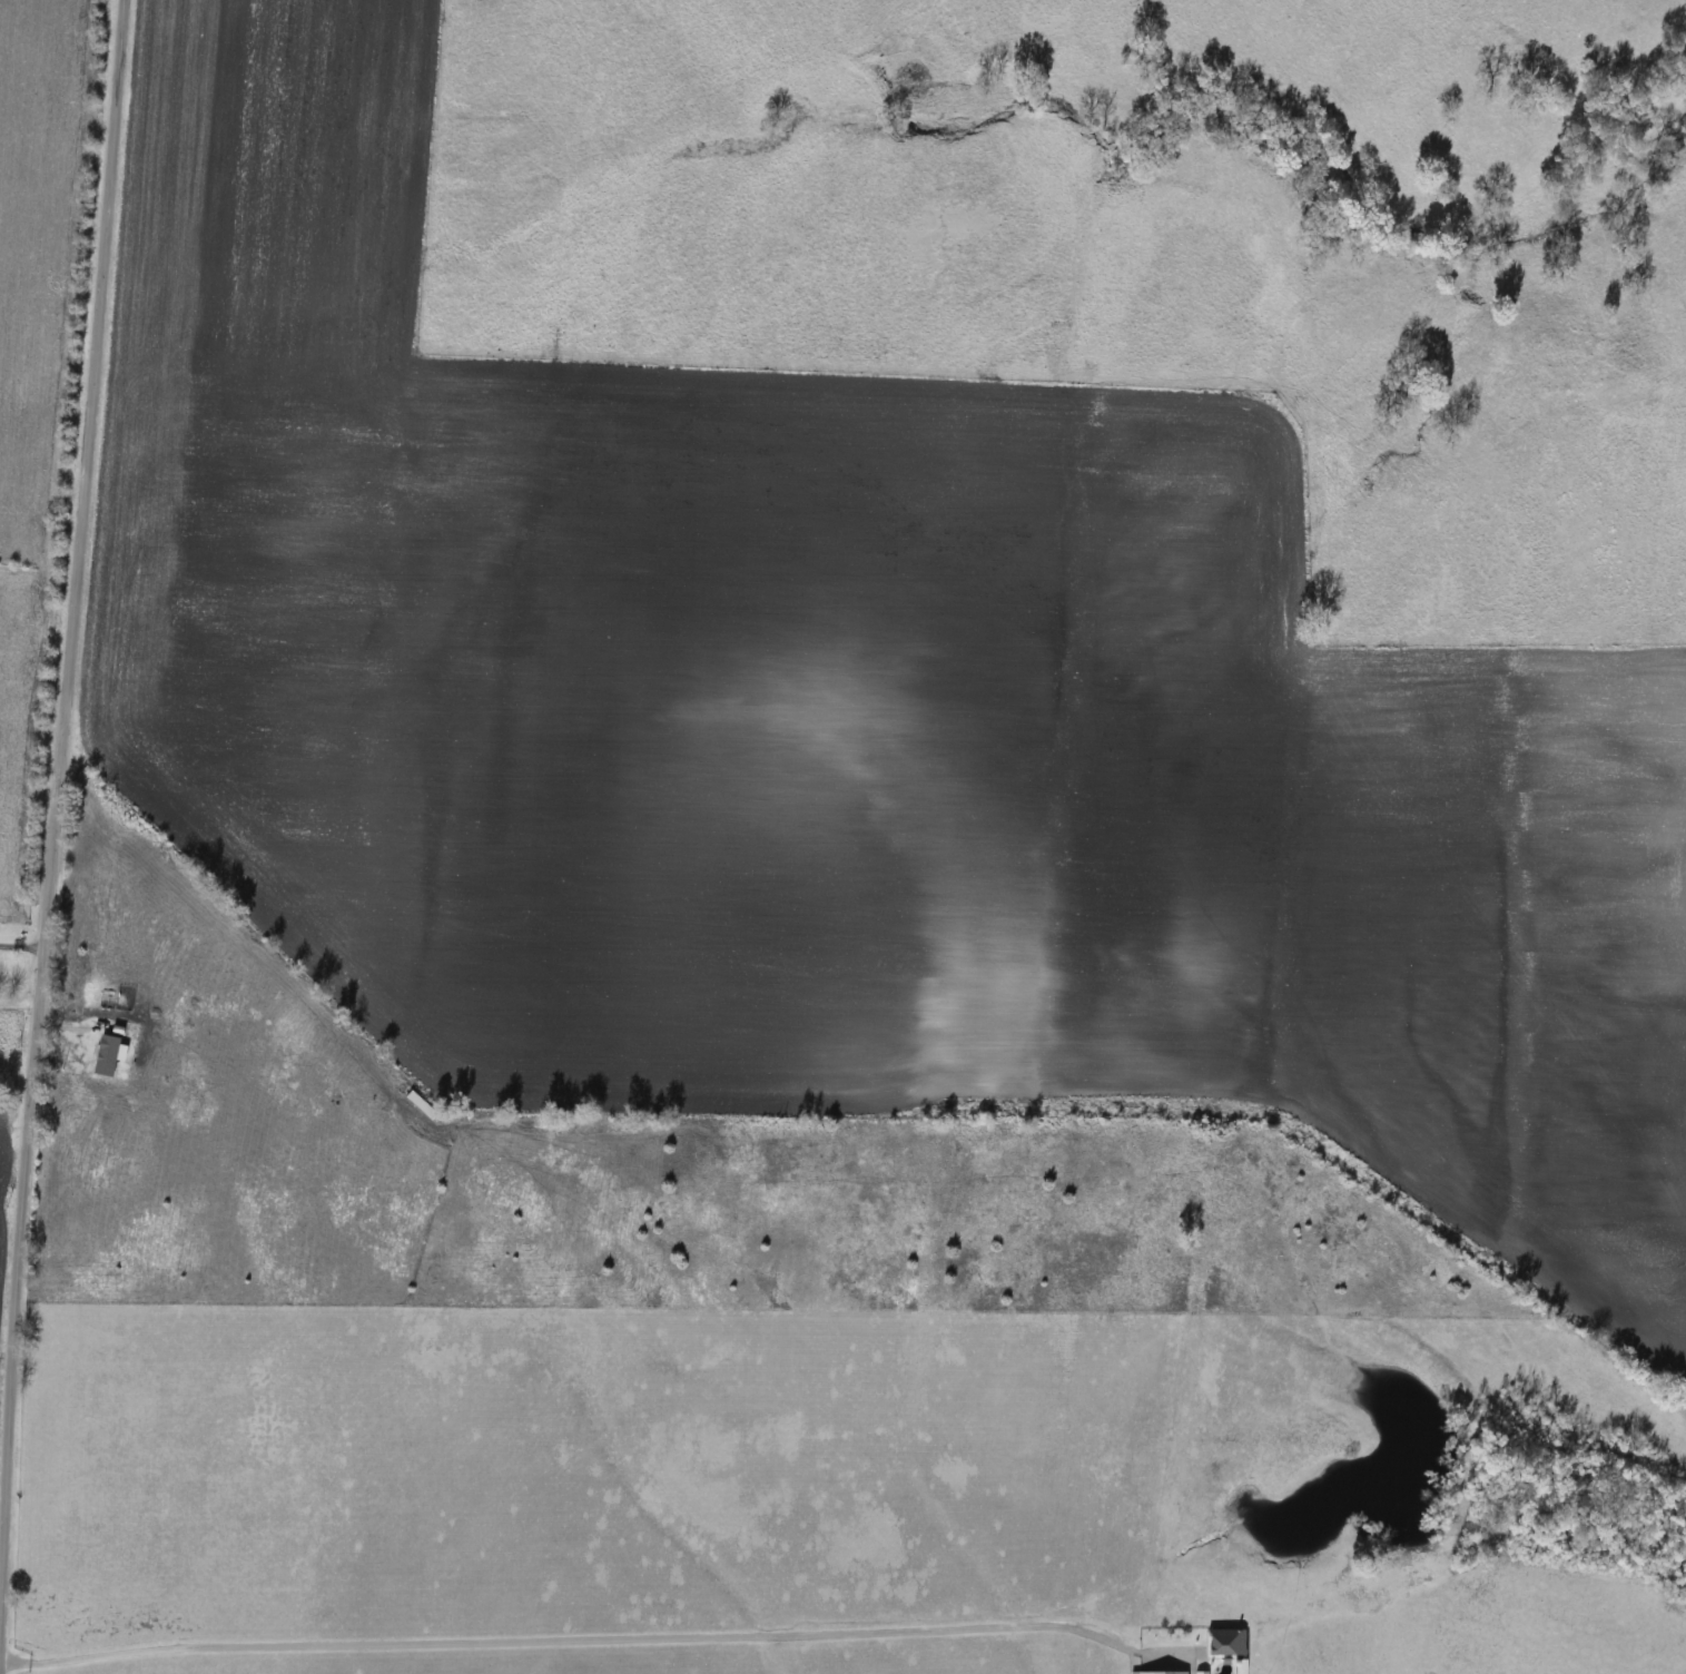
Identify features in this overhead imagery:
road: (55, 809)
road: (19, 1002)
road: (563, 1639)
building: (1161, 1672)

